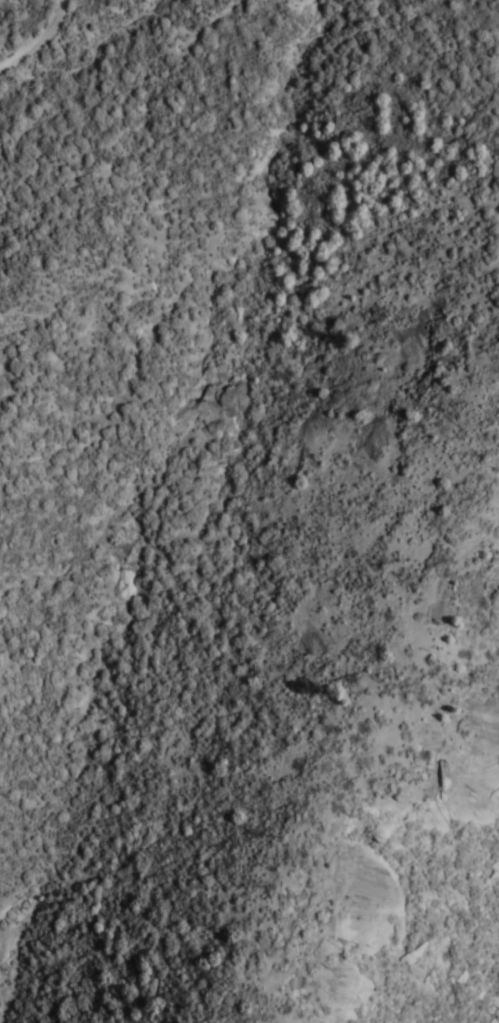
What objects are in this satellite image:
road: (26, 28)

